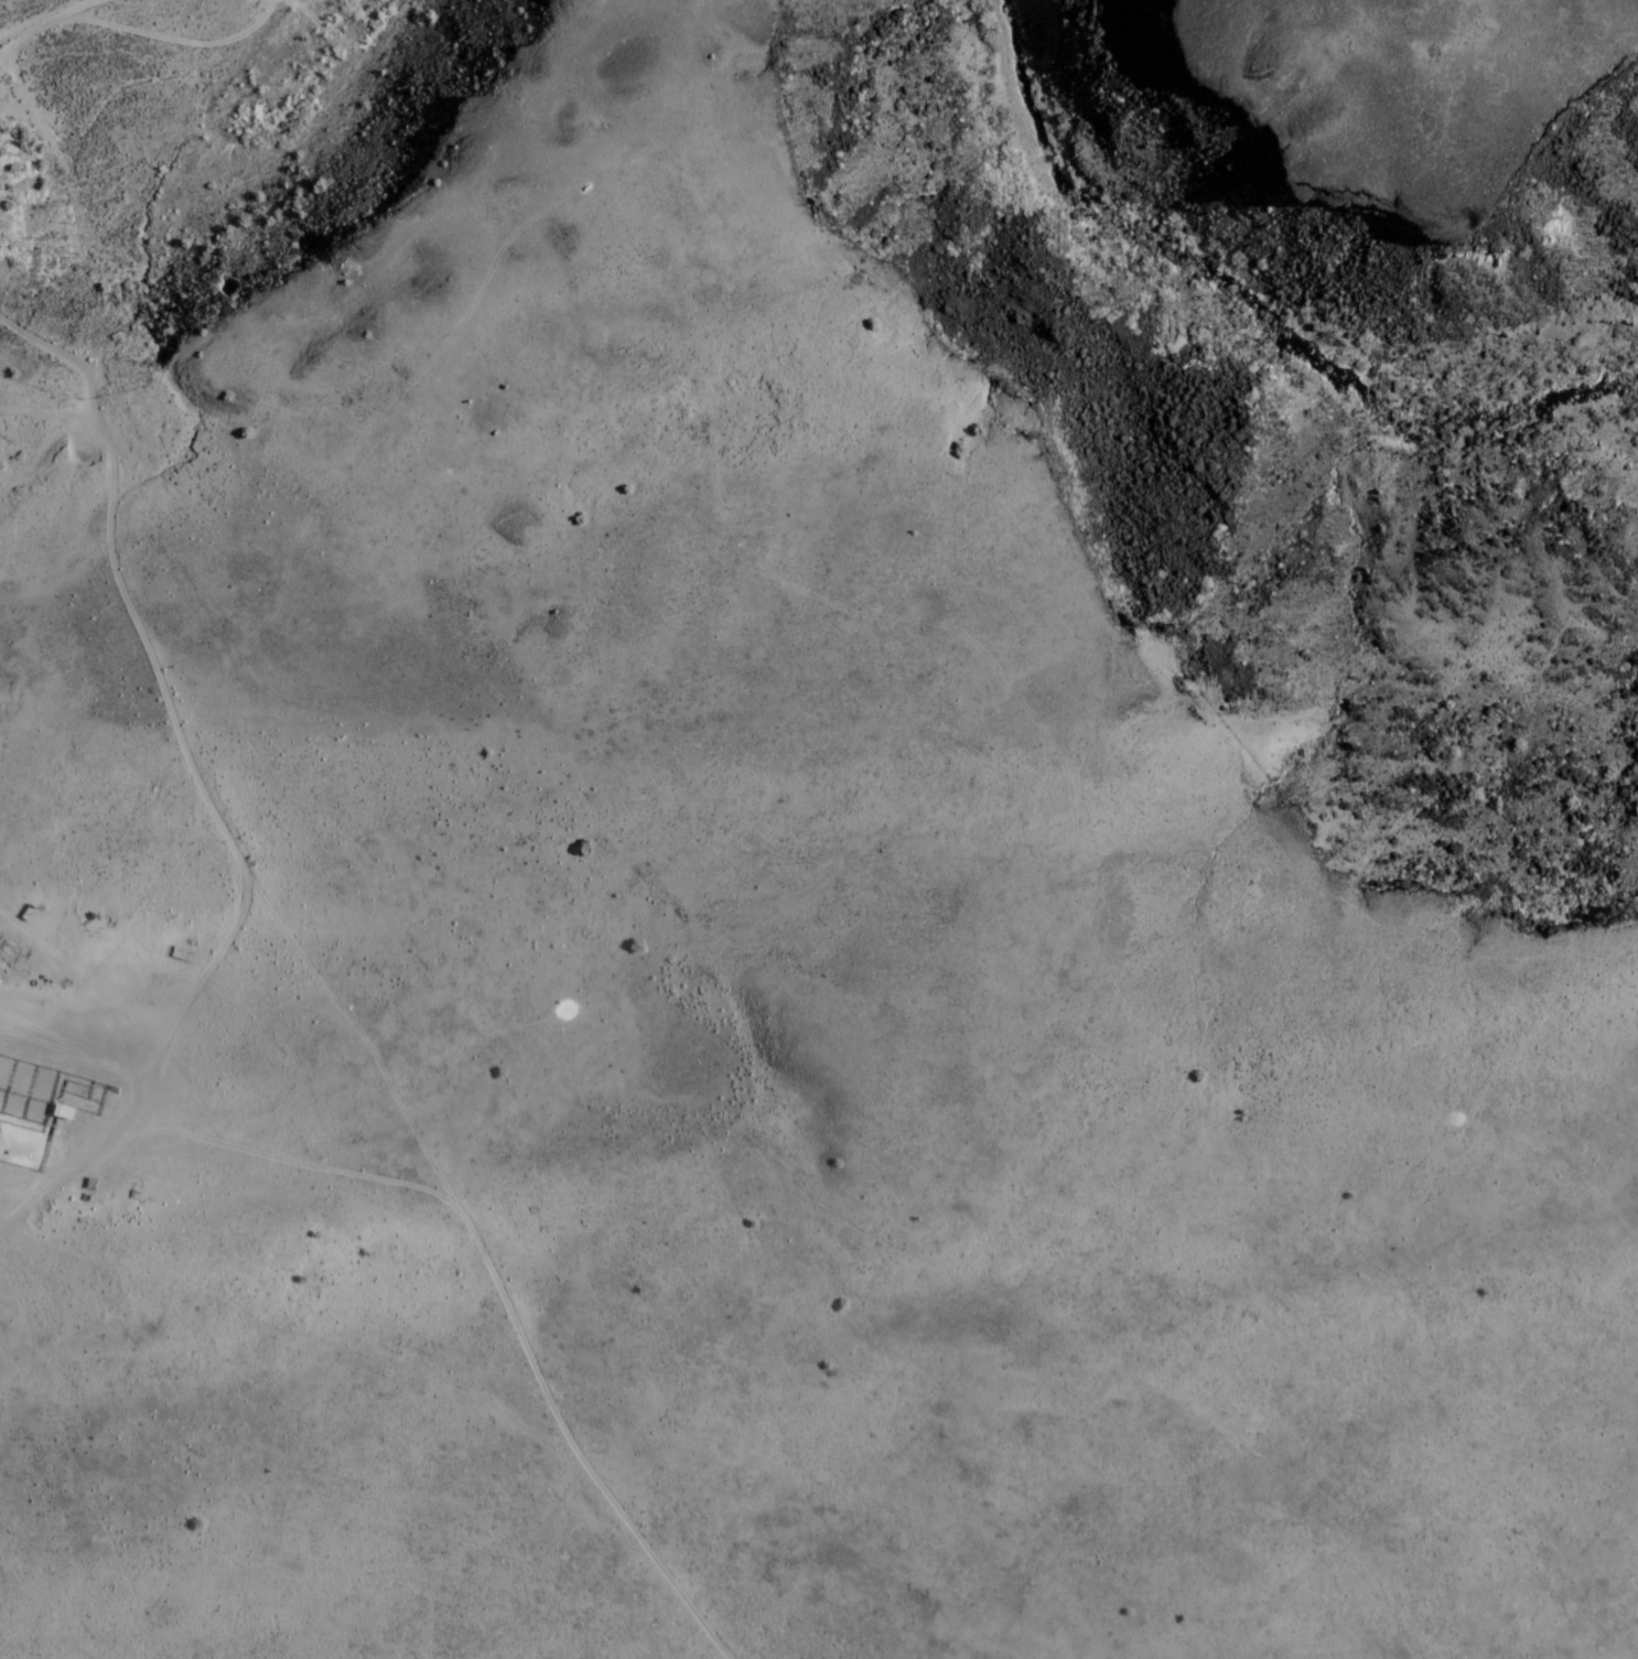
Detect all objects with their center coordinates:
road: (49, 18)
river: (1240, 310)
road: (205, 779)

